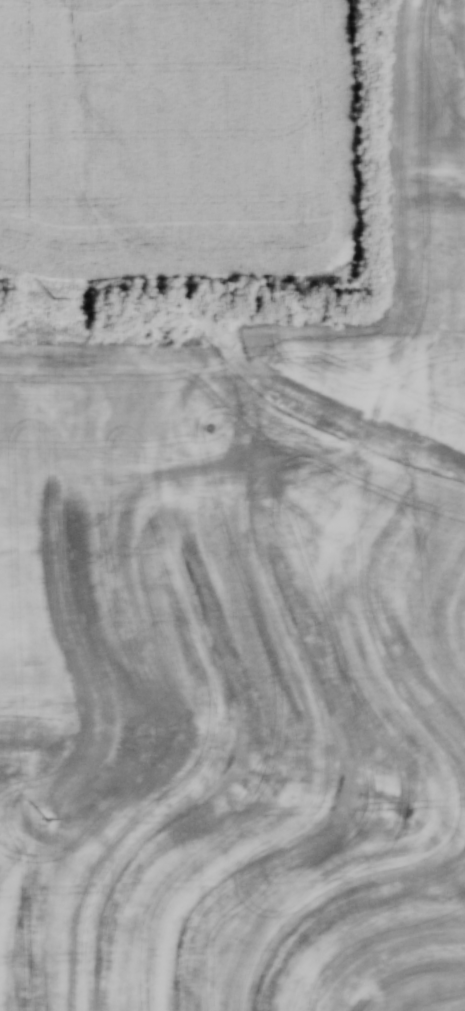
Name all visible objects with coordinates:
power tower: (53, 300)
power tower: (44, 814)

